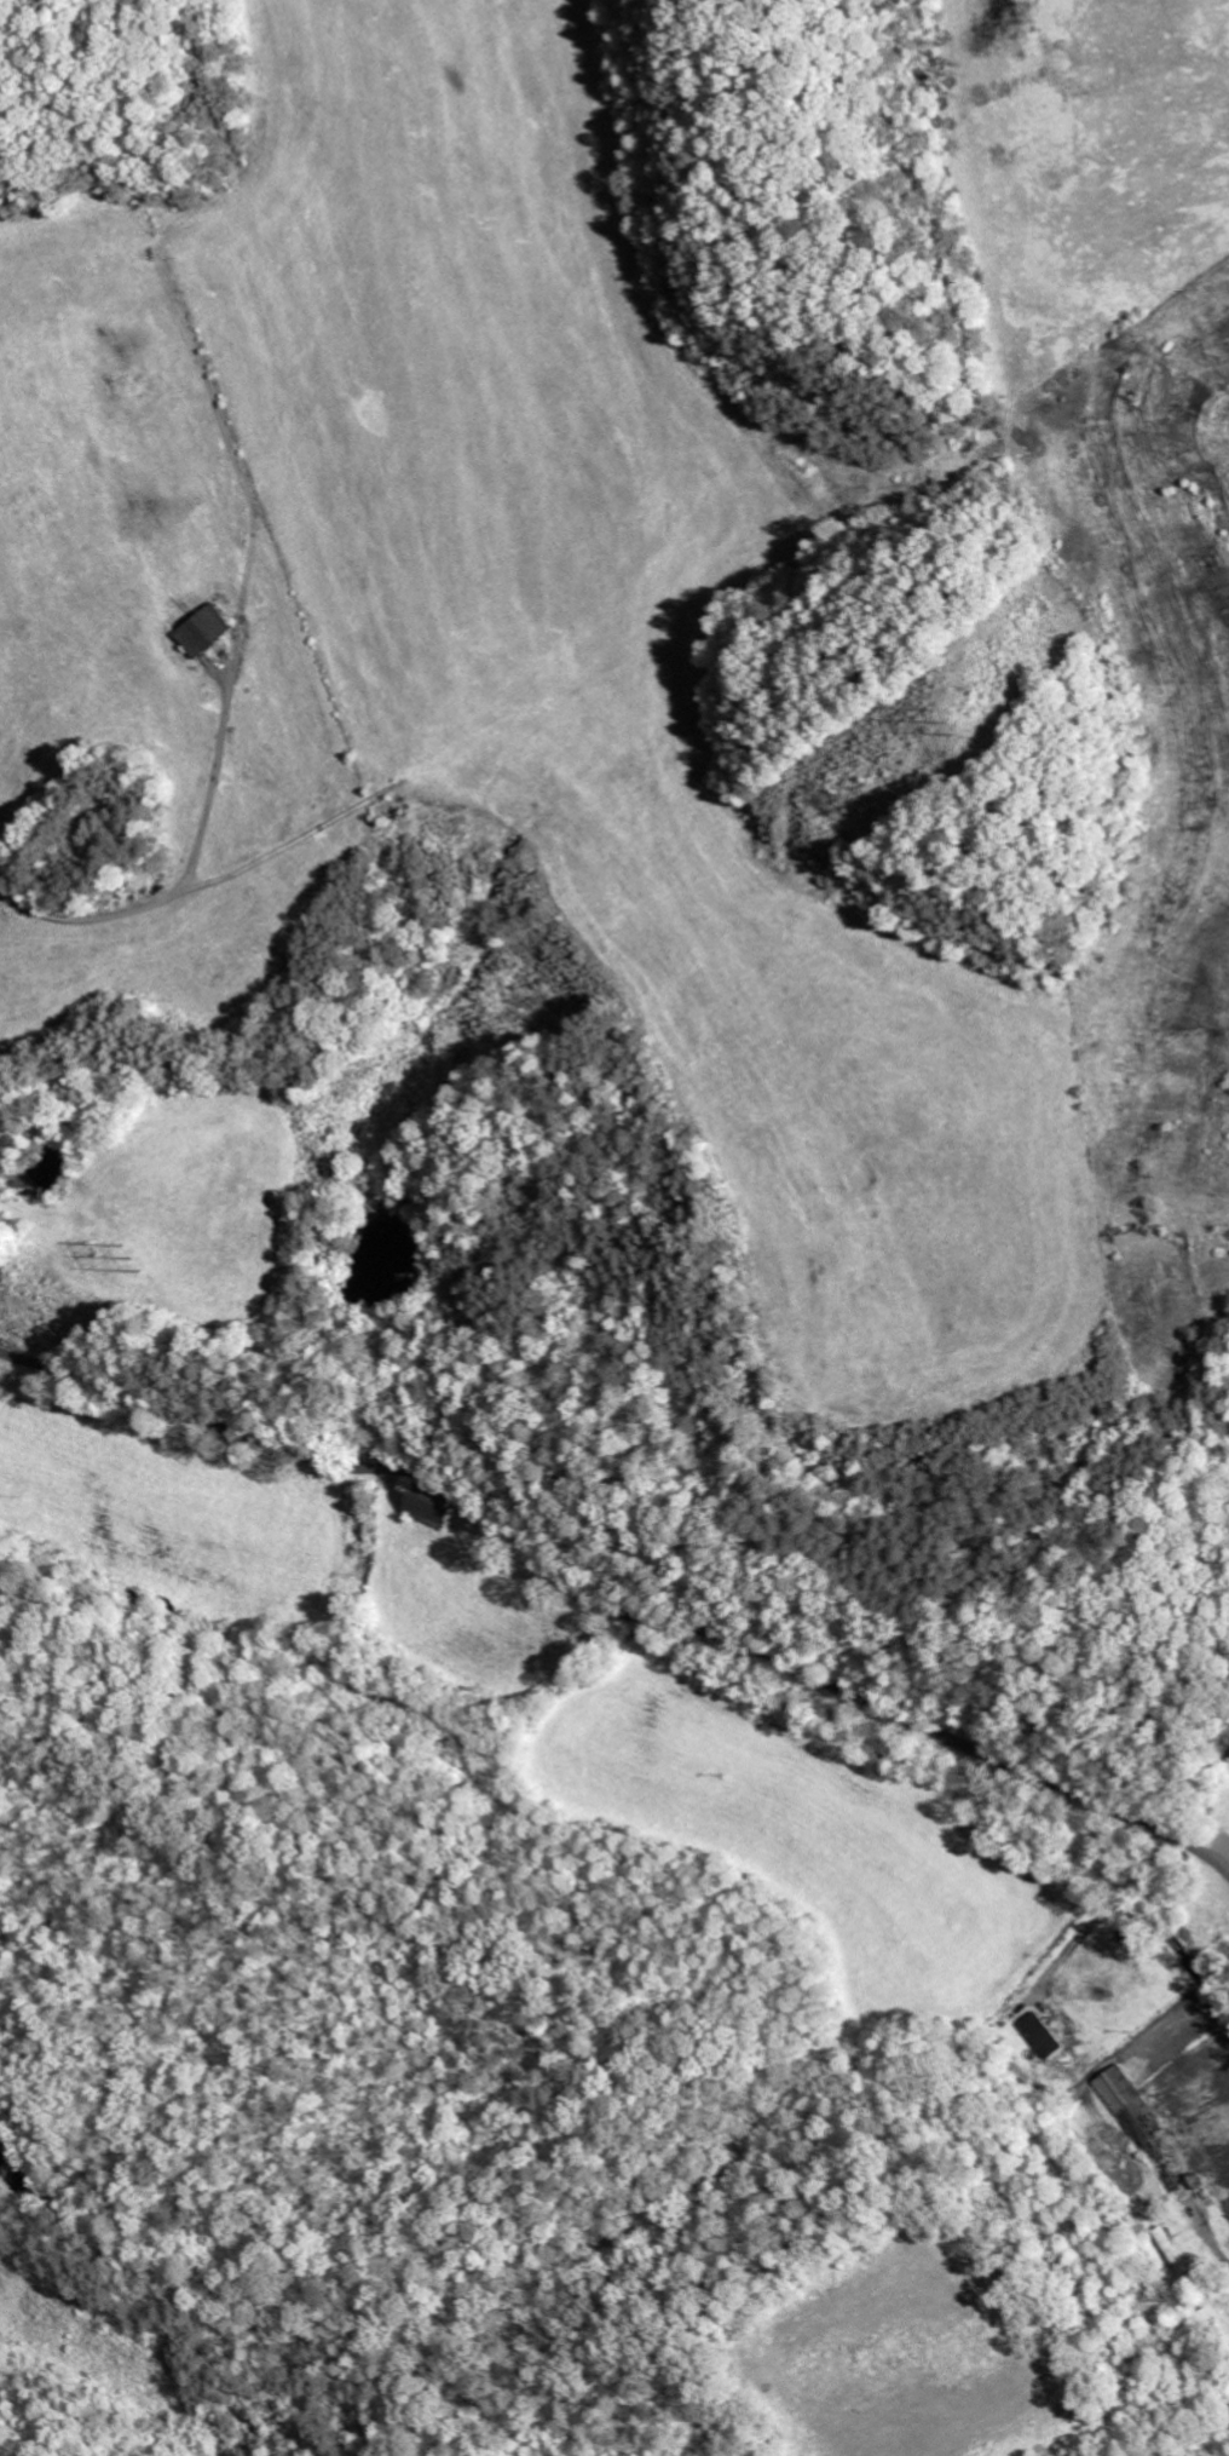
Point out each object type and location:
road: (243, 596)
building: (202, 629)
power tower: (138, 1254)
road: (18, 1354)
building: (428, 1508)
road: (637, 1599)
building: (1042, 2036)
building: (1146, 2130)

